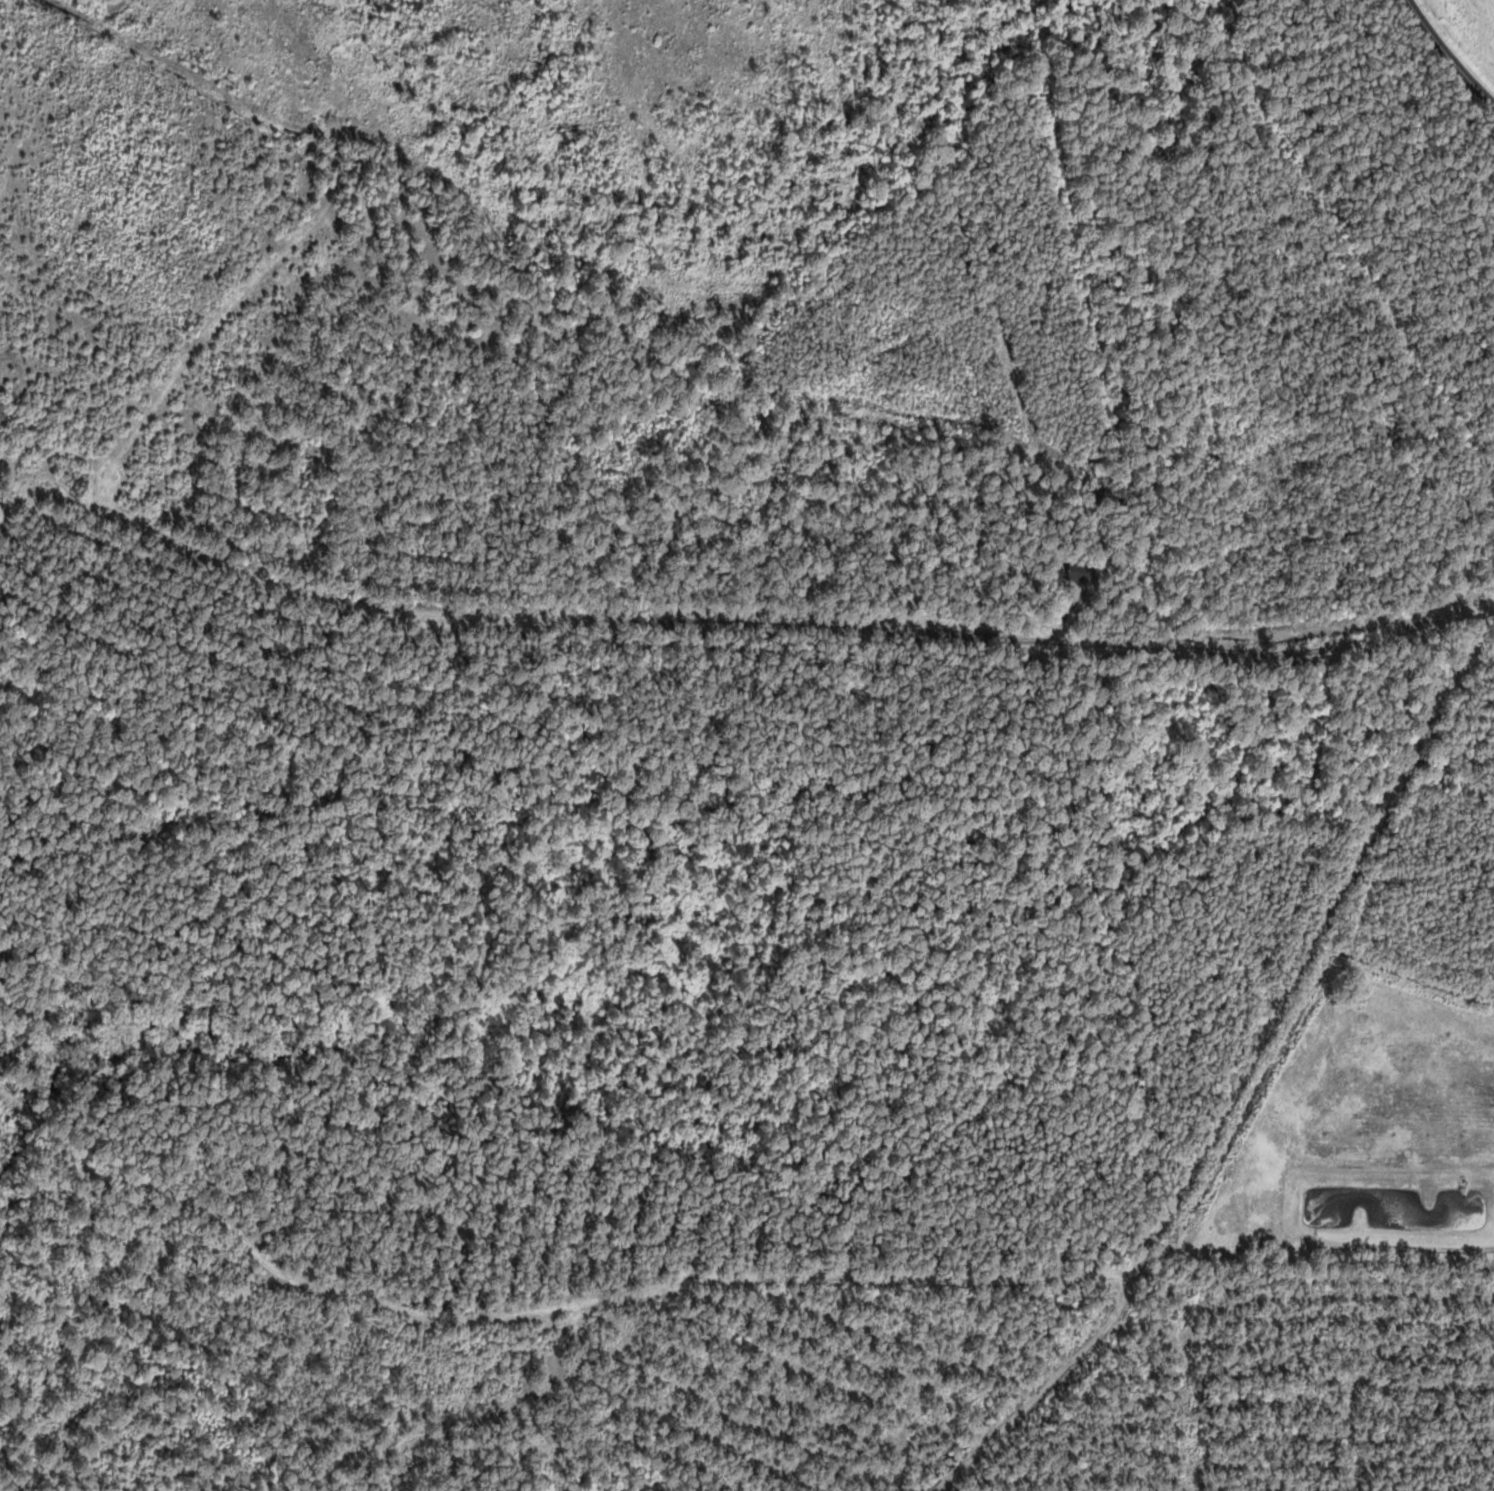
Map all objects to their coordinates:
road: (1449, 54)
building: (1101, 484)
building: (1081, 571)
road: (713, 1284)

